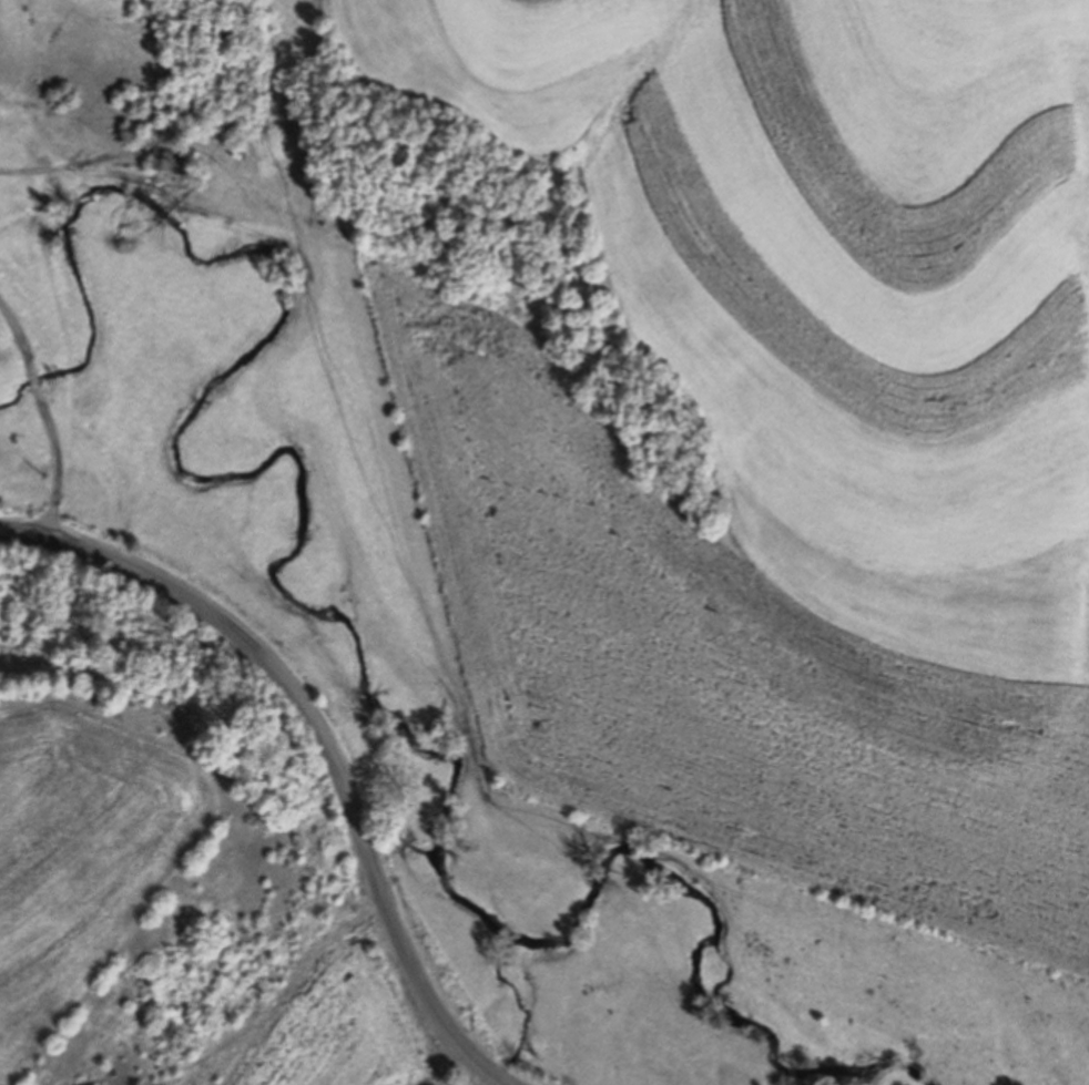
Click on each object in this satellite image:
building: (171, 162)
road: (45, 410)
road: (317, 745)

